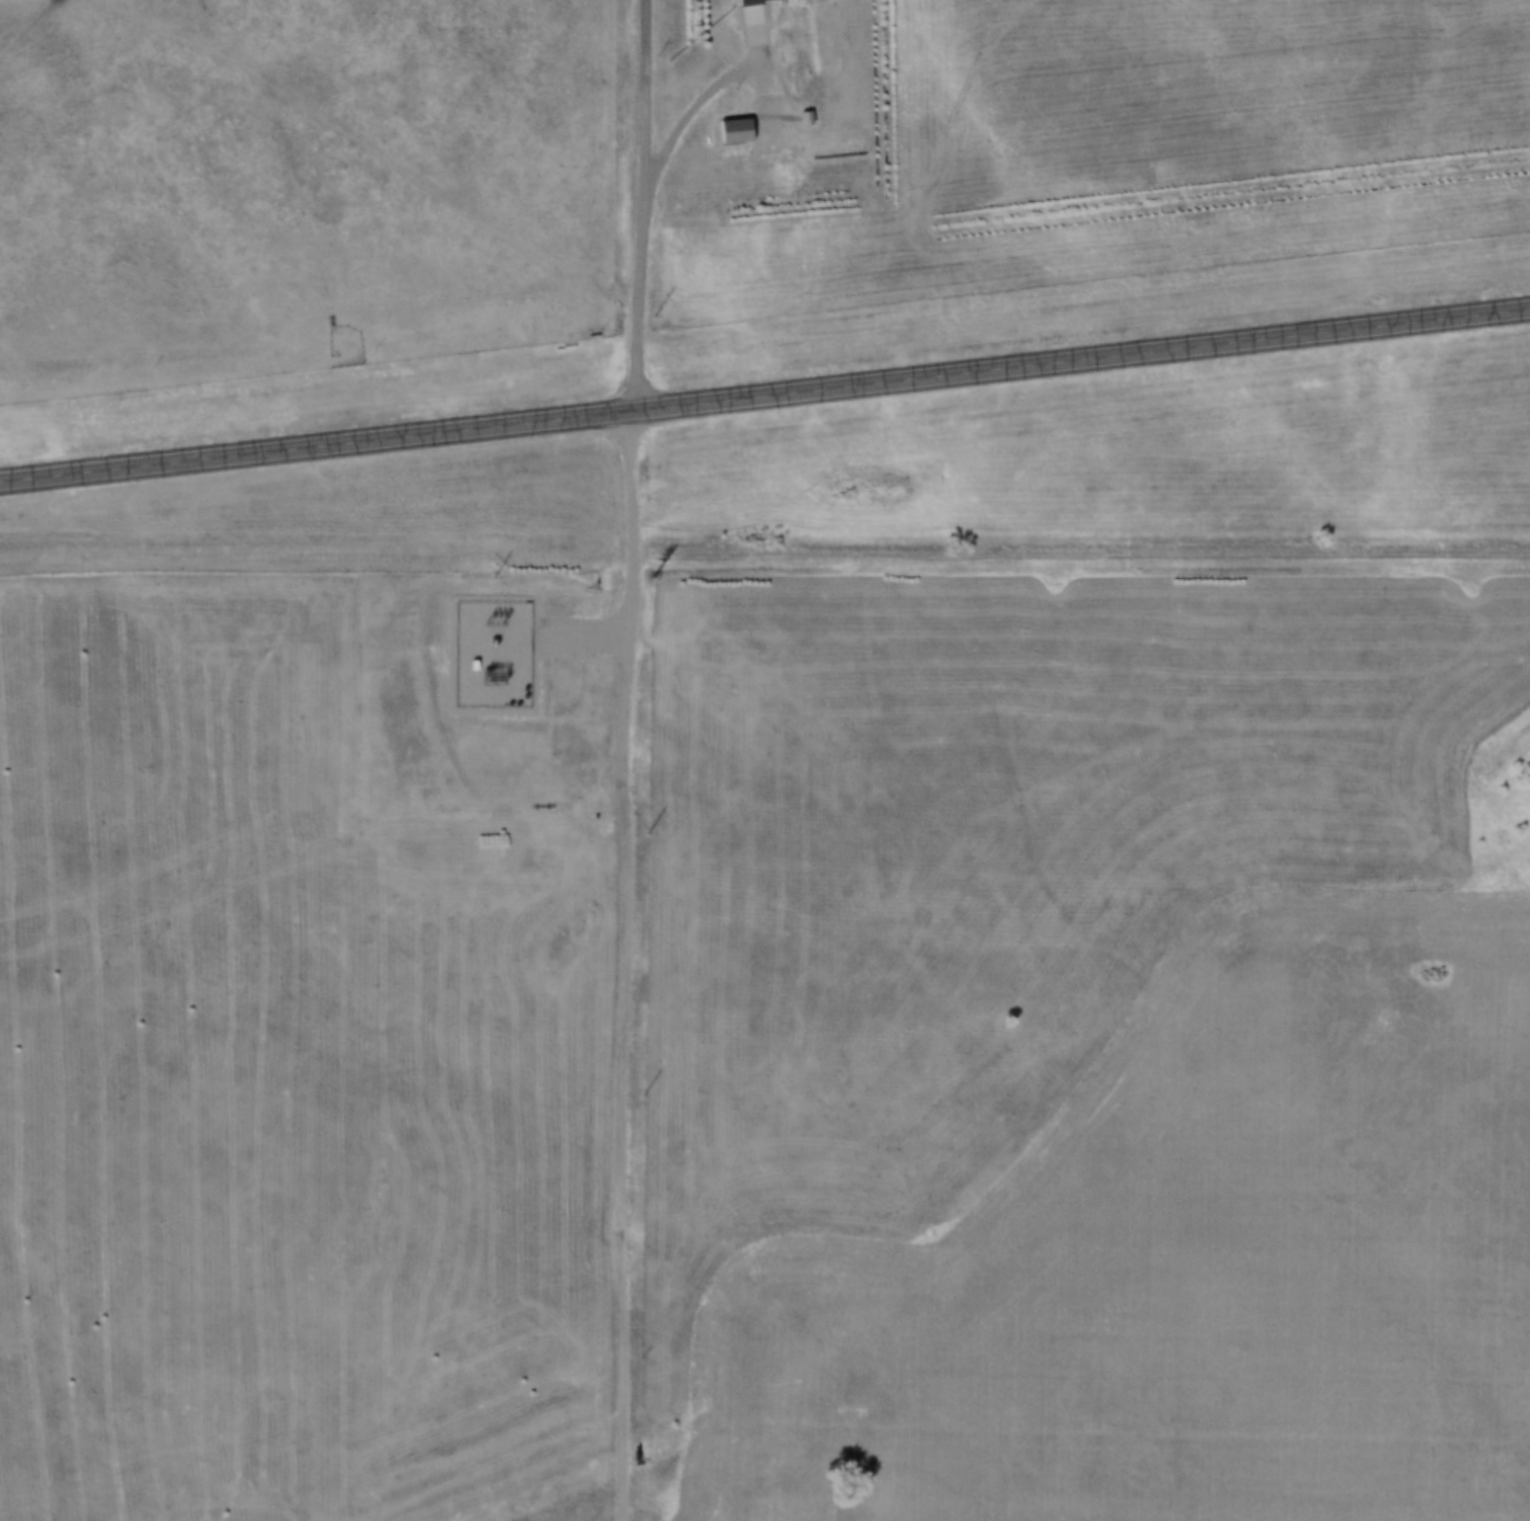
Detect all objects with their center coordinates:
building: (754, 1)
building: (739, 131)
road: (641, 205)
road: (765, 396)
road: (1082, 555)
road: (628, 964)

